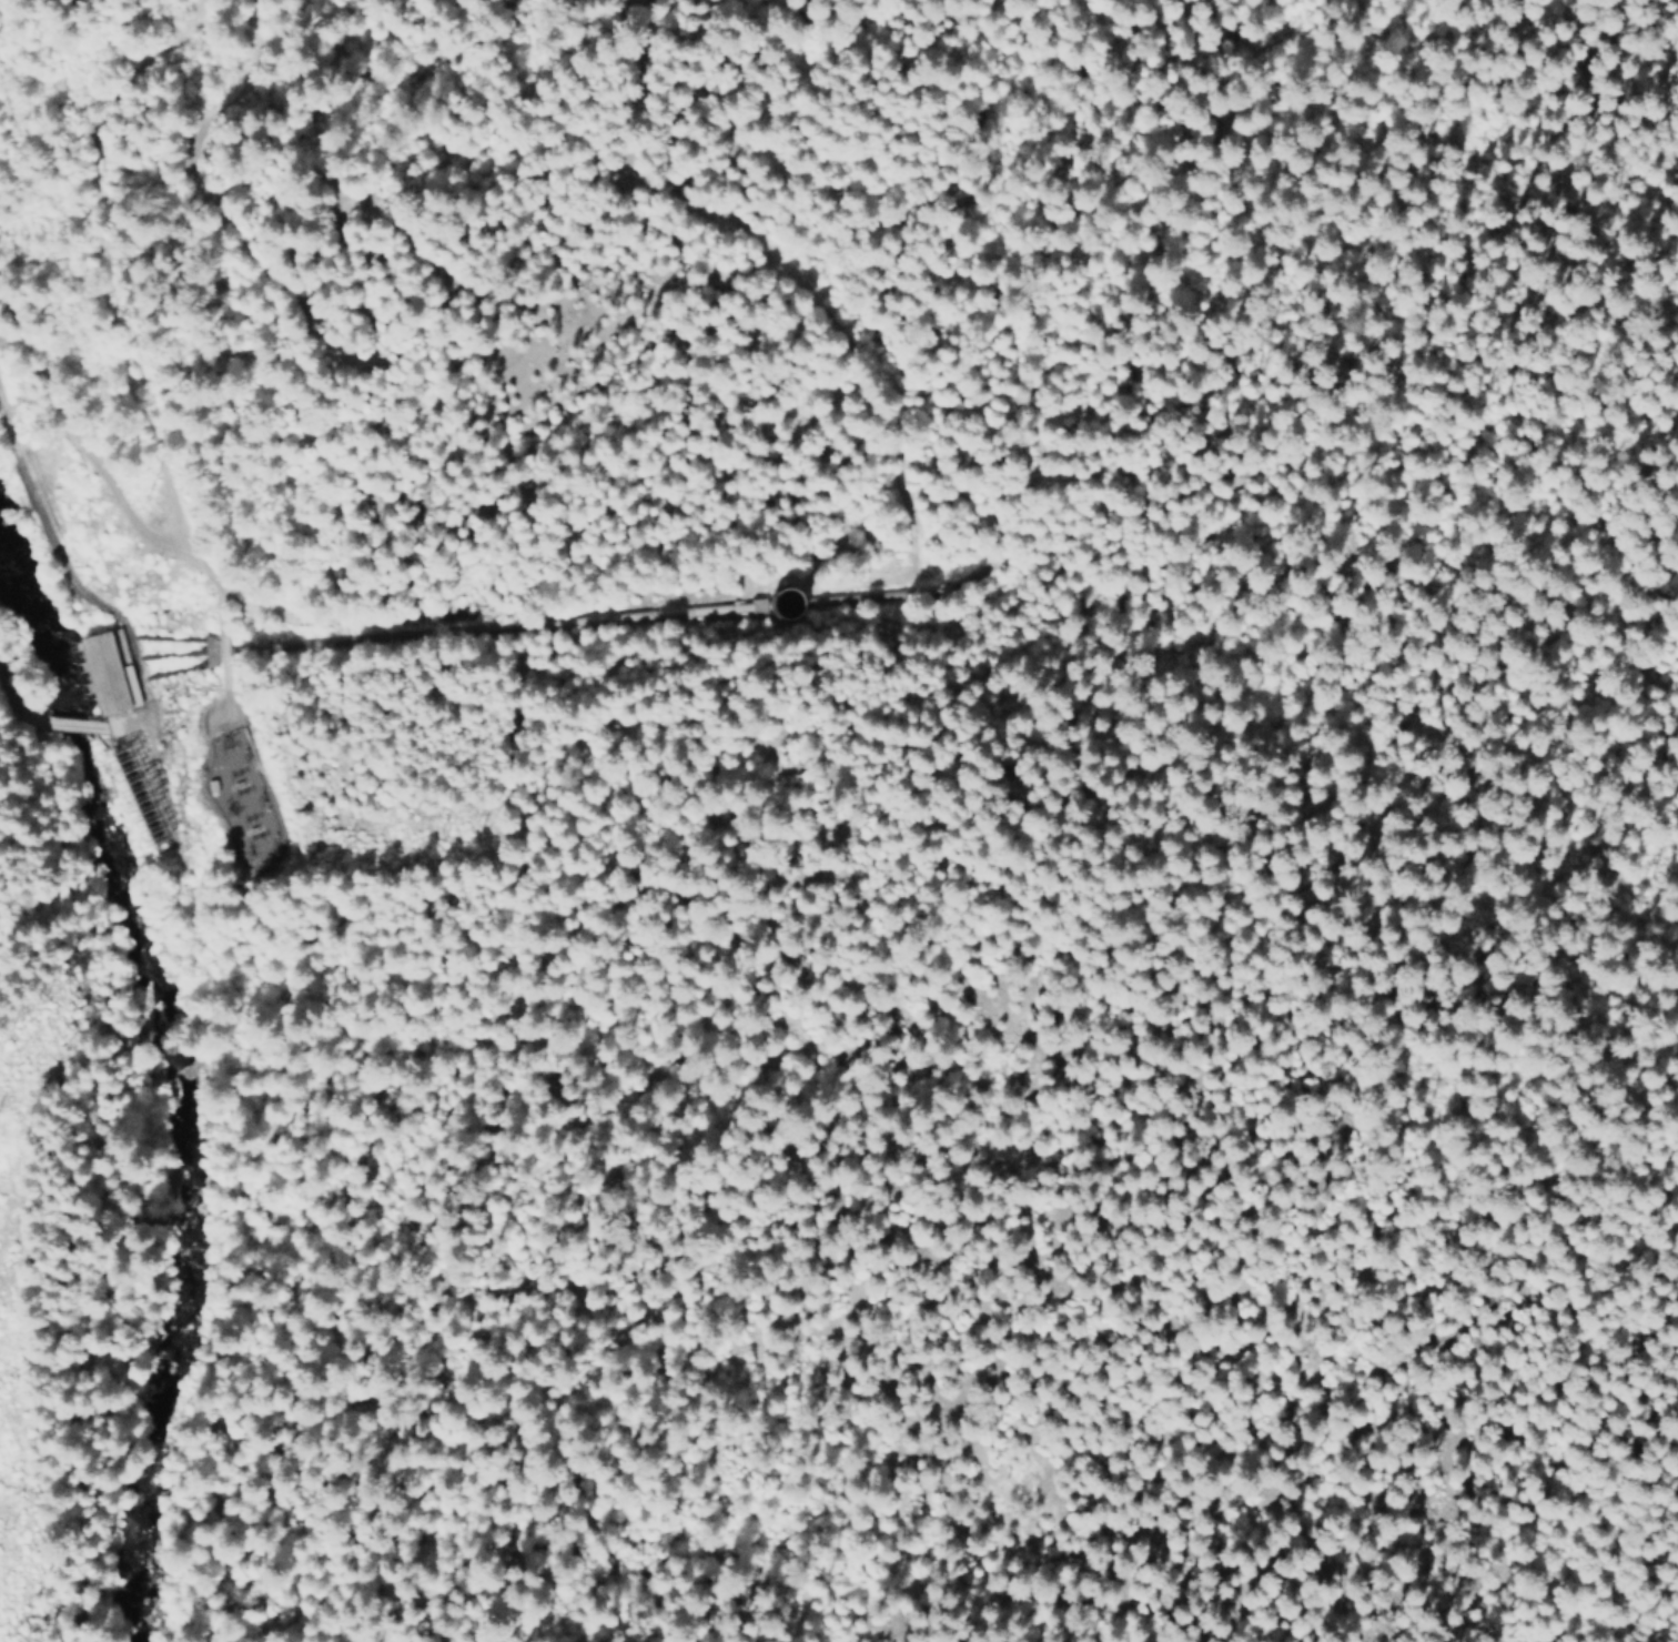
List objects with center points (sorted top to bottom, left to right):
road: (442, 272)
road: (828, 326)
road: (123, 508)
road: (63, 567)
building: (110, 673)
road: (13, 708)
road: (67, 725)
building: (231, 779)
road: (1365, 873)
river: (159, 1089)

